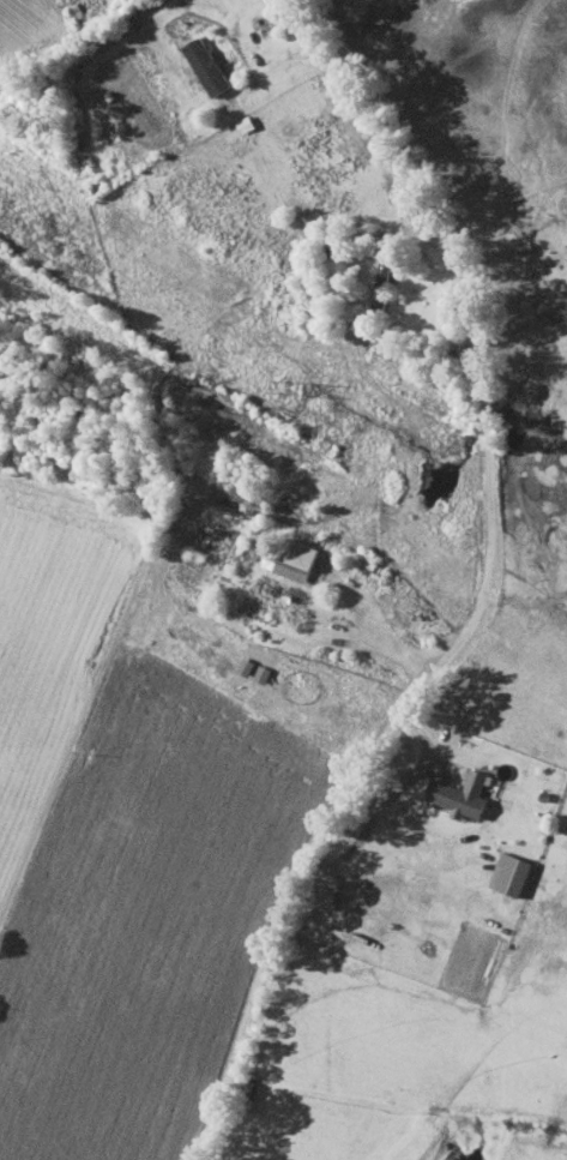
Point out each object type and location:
building: (209, 66)
power tower: (288, 379)
building: (291, 557)
road: (485, 591)
building: (463, 793)
building: (512, 872)

